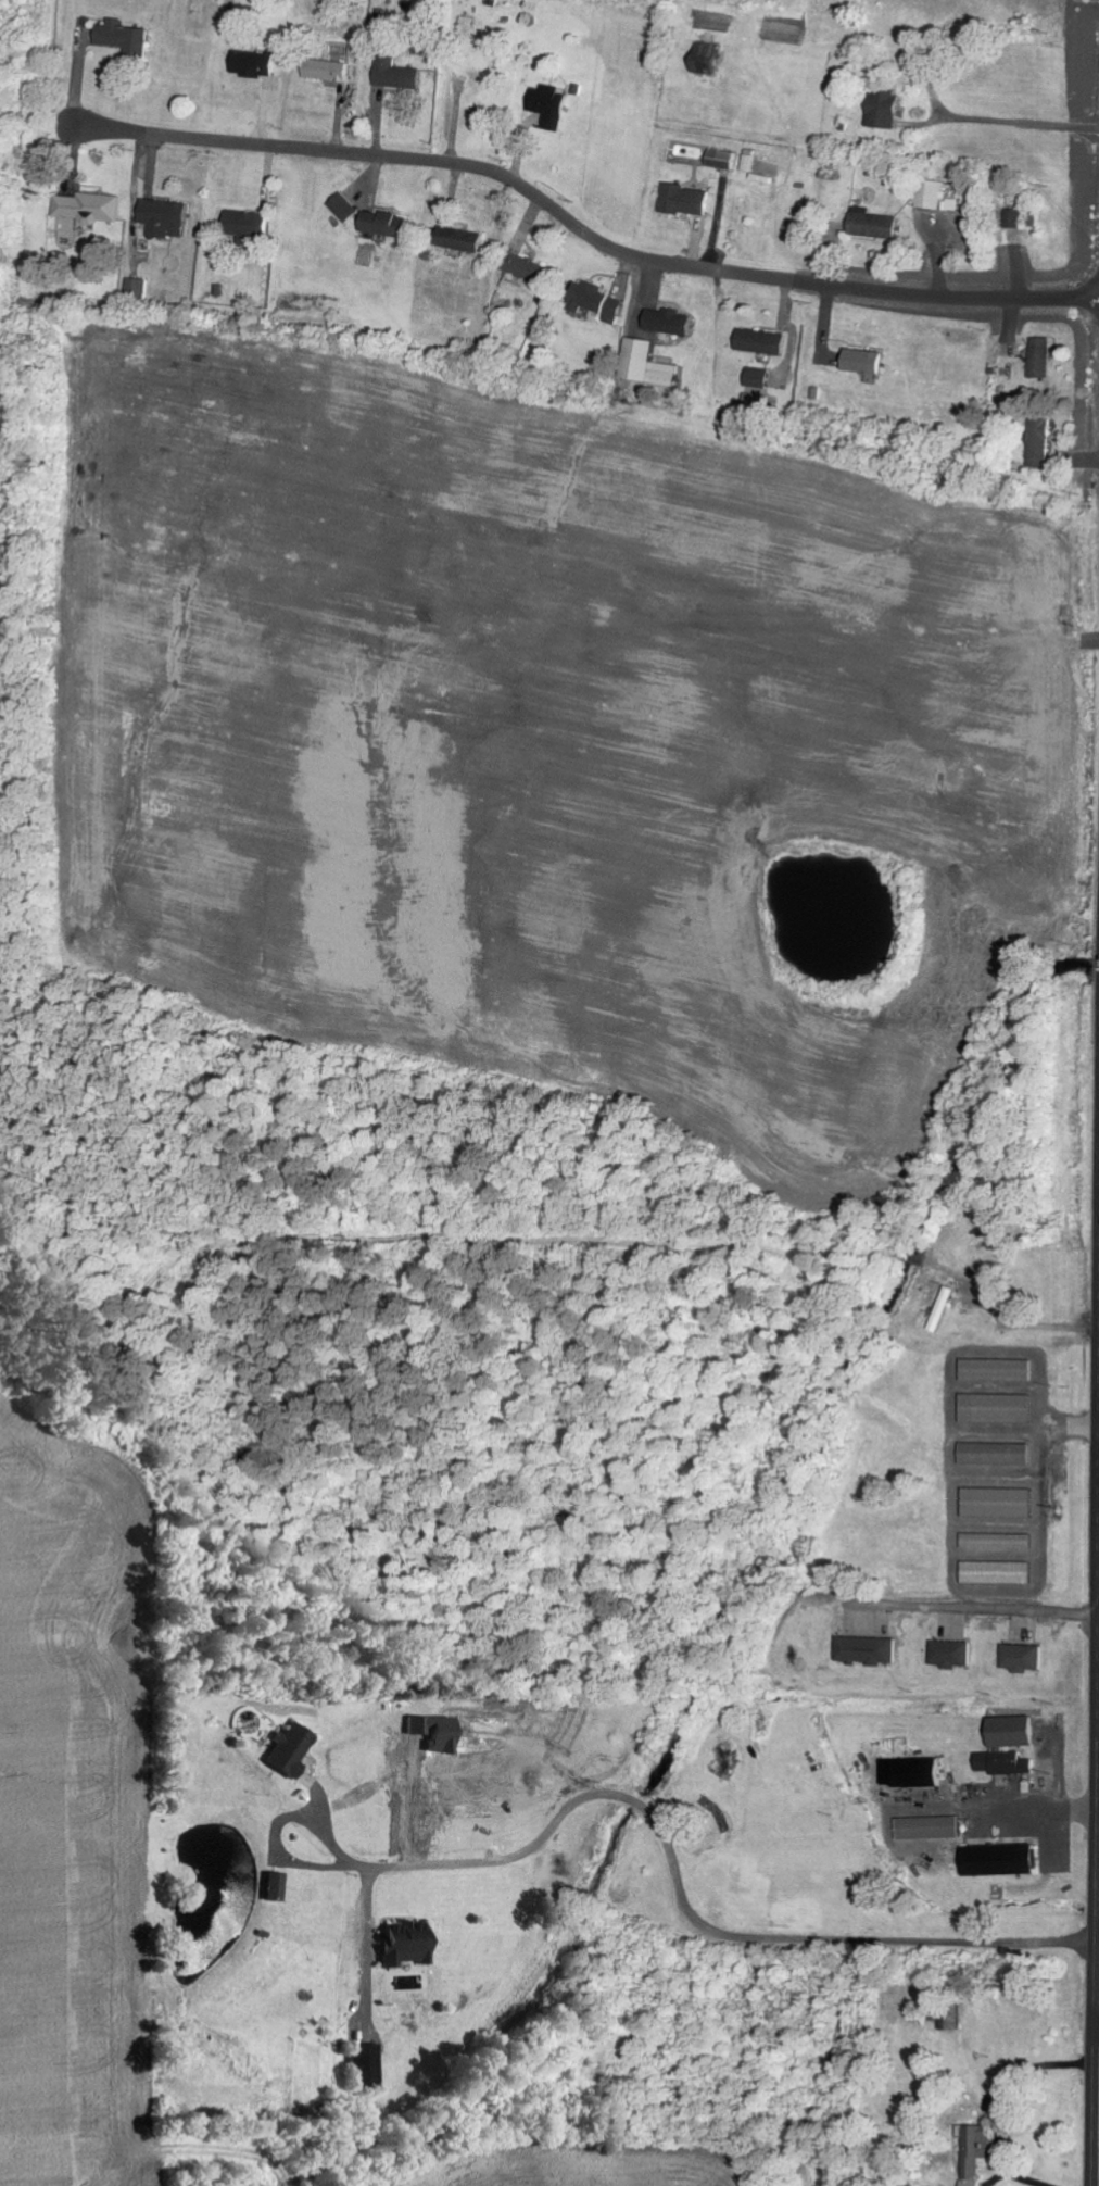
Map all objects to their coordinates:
building: (127, 40)
building: (710, 58)
building: (256, 64)
building: (330, 70)
building: (401, 74)
building: (552, 104)
building: (890, 109)
building: (723, 160)
building: (931, 196)
building: (690, 199)
building: (92, 208)
building: (346, 208)
building: (157, 210)
building: (1014, 218)
road: (578, 222)
building: (251, 225)
building: (387, 225)
building: (875, 225)
building: (465, 240)
building: (137, 290)
building: (602, 302)
building: (672, 322)
building: (763, 342)
building: (1045, 357)
building: (869, 361)
building: (650, 364)
building: (759, 378)
building: (1044, 443)
building: (955, 1294)
building: (1000, 1370)
building: (999, 1408)
building: (999, 1454)
building: (1001, 1503)
building: (1000, 1541)
building: (1000, 1572)
building: (869, 1650)
building: (952, 1654)
building: (1023, 1658)
building: (1011, 1746)
building: (292, 1749)
building: (915, 1772)
building: (933, 1827)
road: (1096, 1830)
building: (1003, 1860)
building: (277, 1885)
building: (410, 1944)
building: (946, 2017)
road: (1097, 2030)
building: (369, 2064)
building: (978, 2152)

